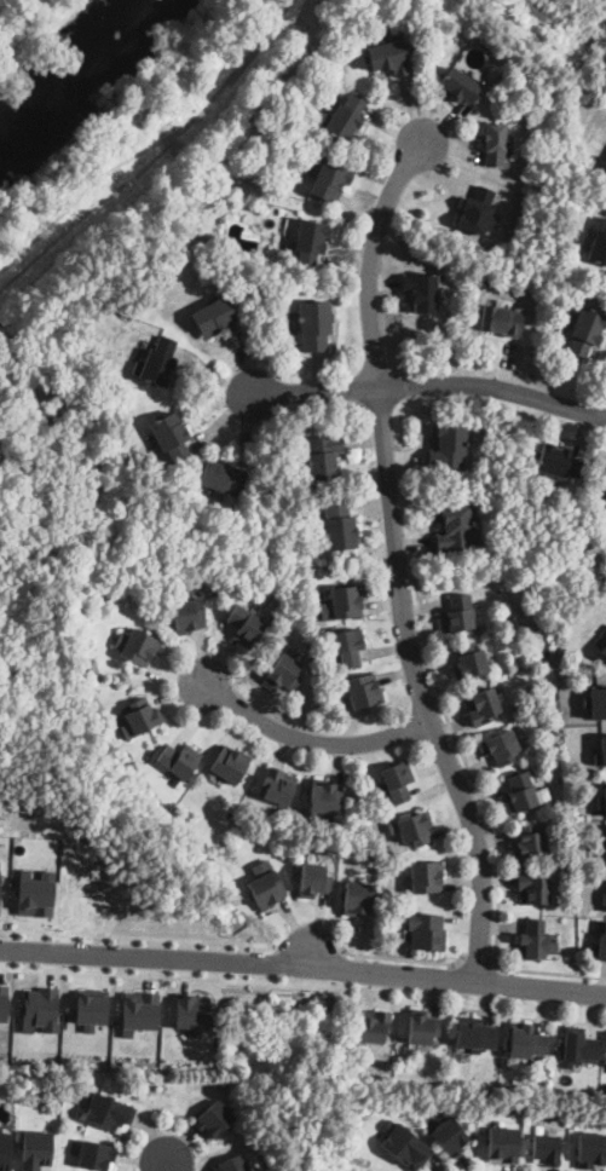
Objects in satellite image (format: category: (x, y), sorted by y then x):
park: (44, 42)
river: (57, 54)
building: (389, 58)
building: (458, 86)
building: (344, 120)
building: (497, 145)
building: (330, 180)
building: (477, 212)
building: (311, 242)
building: (599, 247)
park: (105, 258)
building: (266, 269)
building: (486, 277)
building: (422, 293)
building: (218, 318)
building: (501, 321)
building: (314, 325)
building: (587, 331)
building: (157, 363)
road: (431, 388)
building: (171, 437)
building: (449, 450)
building: (323, 457)
building: (559, 463)
building: (223, 478)
building: (605, 485)
building: (261, 496)
building: (339, 526)
building: (456, 530)
building: (513, 556)
road: (394, 561)
building: (271, 565)
building: (342, 602)
building: (187, 610)
building: (290, 612)
building: (457, 615)
building: (247, 623)
building: (605, 630)
building: (605, 631)
building: (137, 645)
building: (348, 646)
building: (602, 647)
building: (469, 661)
building: (284, 673)
building: (364, 691)
building: (596, 702)
building: (484, 705)
building: (140, 716)
road: (308, 740)
building: (501, 746)
building: (600, 751)
building: (178, 758)
building: (230, 763)
building: (398, 779)
building: (278, 784)
building: (521, 792)
building: (324, 798)
building: (601, 801)
road: (487, 818)
building: (414, 830)
building: (605, 831)
building: (531, 842)
building: (602, 844)
building: (0, 870)
building: (426, 877)
building: (314, 879)
building: (266, 884)
building: (533, 888)
building: (36, 892)
building: (359, 898)
building: (604, 898)
road: (29, 930)
building: (427, 931)
road: (191, 940)
building: (533, 941)
building: (601, 942)
road: (307, 946)
road: (405, 961)
road: (483, 961)
road: (302, 964)
road: (337, 968)
road: (166, 975)
building: (2, 1002)
building: (91, 1008)
building: (40, 1009)
building: (139, 1011)
building: (192, 1011)
building: (374, 1026)
building: (422, 1028)
building: (475, 1033)
building: (526, 1039)
building: (578, 1046)
building: (110, 1112)
building: (214, 1118)
building: (451, 1136)
building: (405, 1143)
building: (503, 1144)
building: (547, 1147)
building: (5, 1149)
building: (36, 1150)
building: (591, 1150)
building: (97, 1154)
building: (231, 1164)
road: (135, 1166)
road: (163, 1167)

